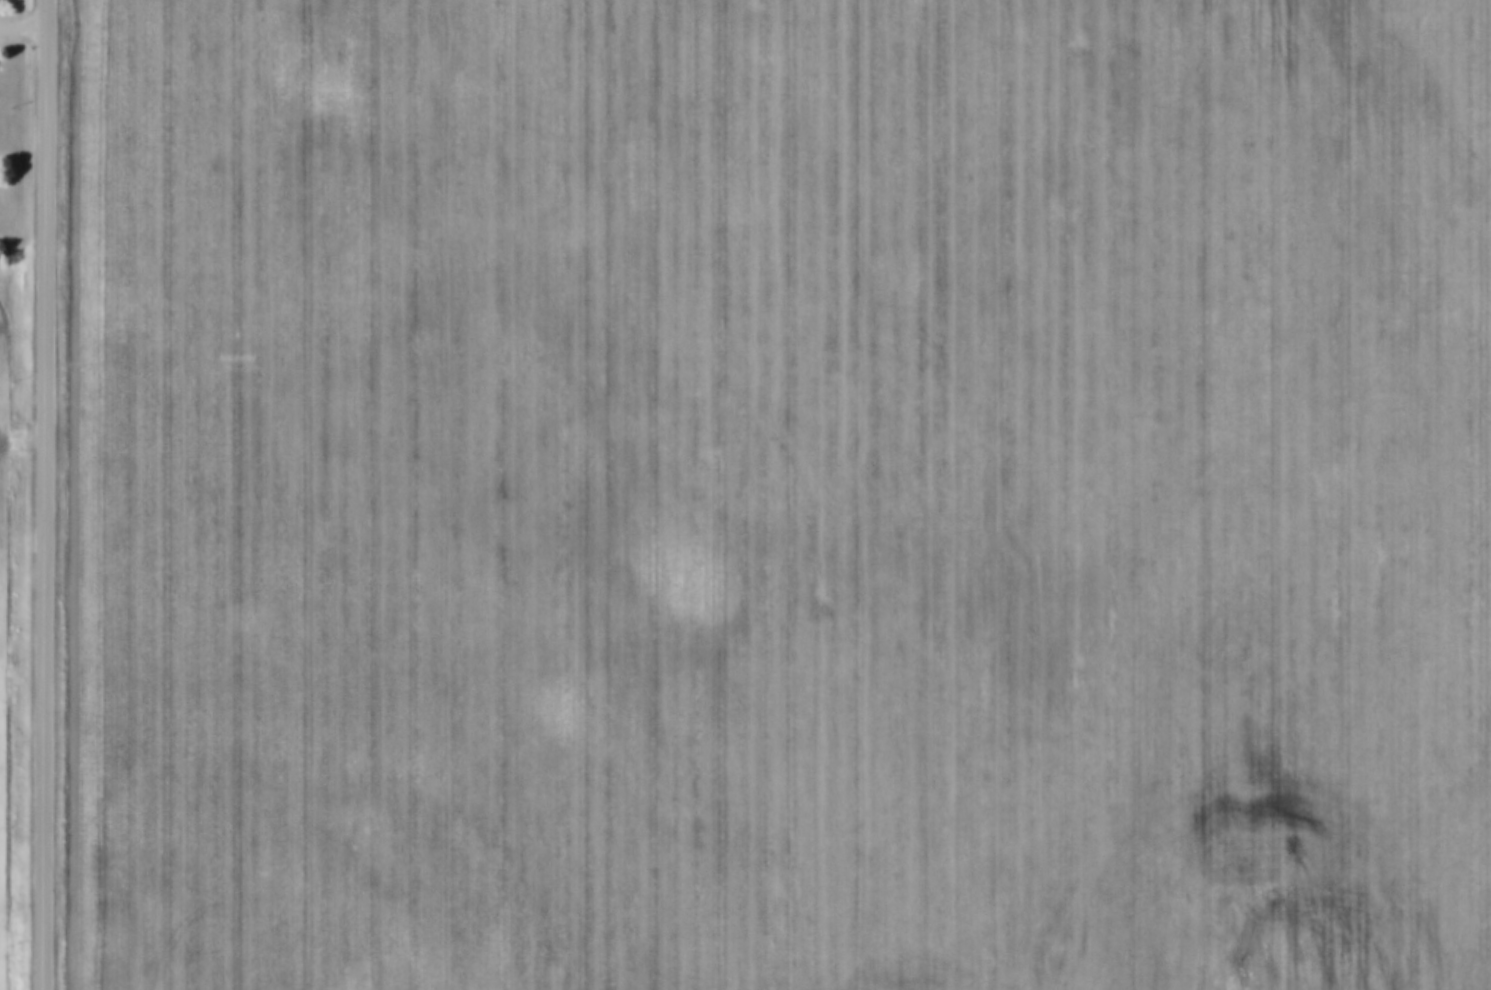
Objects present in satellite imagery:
road: (22, 21)
road: (44, 494)

